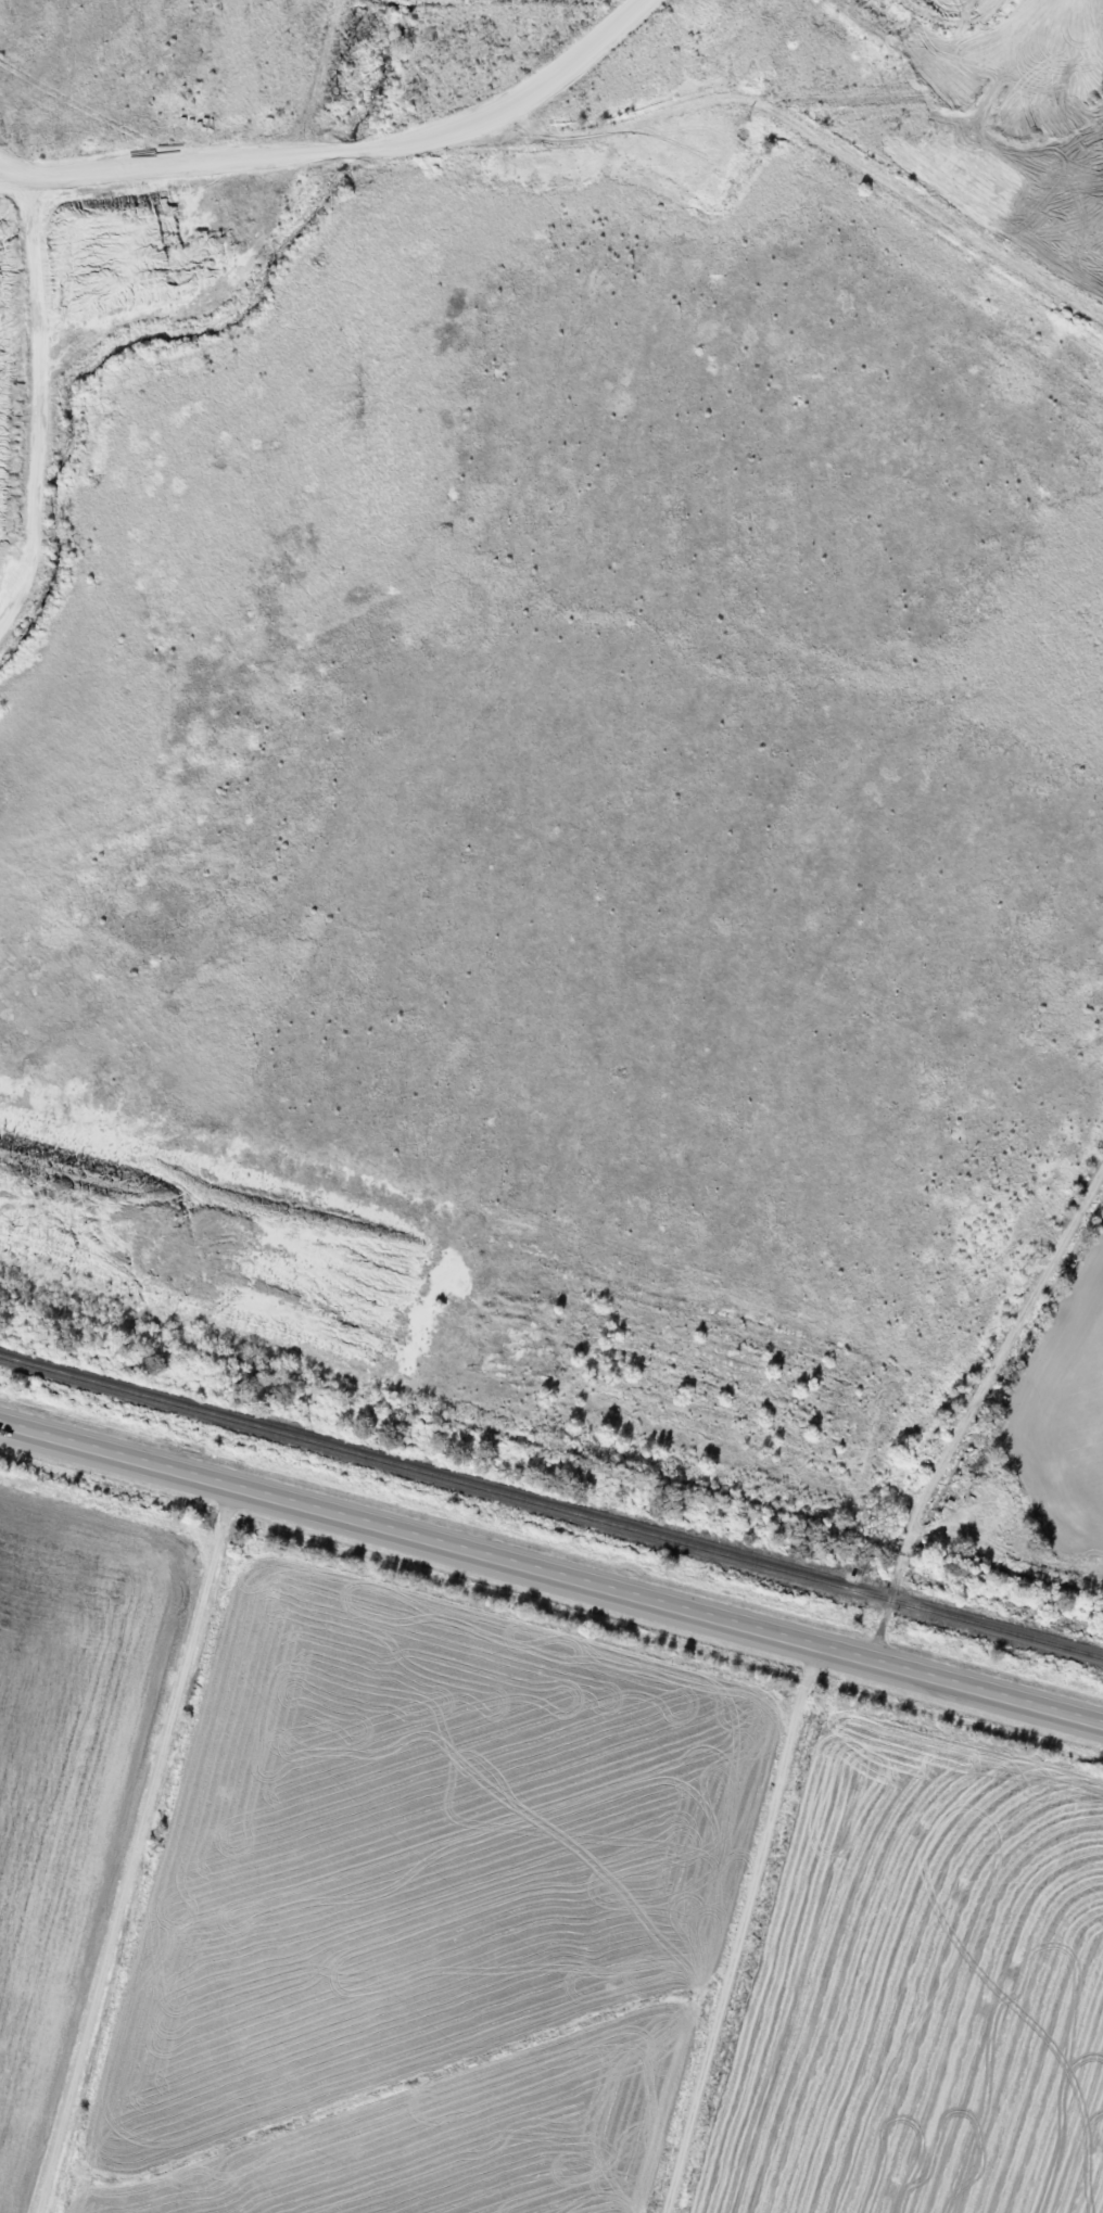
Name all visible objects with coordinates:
road: (530, 77)
road: (585, 132)
road: (967, 1411)
railway: (550, 1509)
road: (550, 1572)

